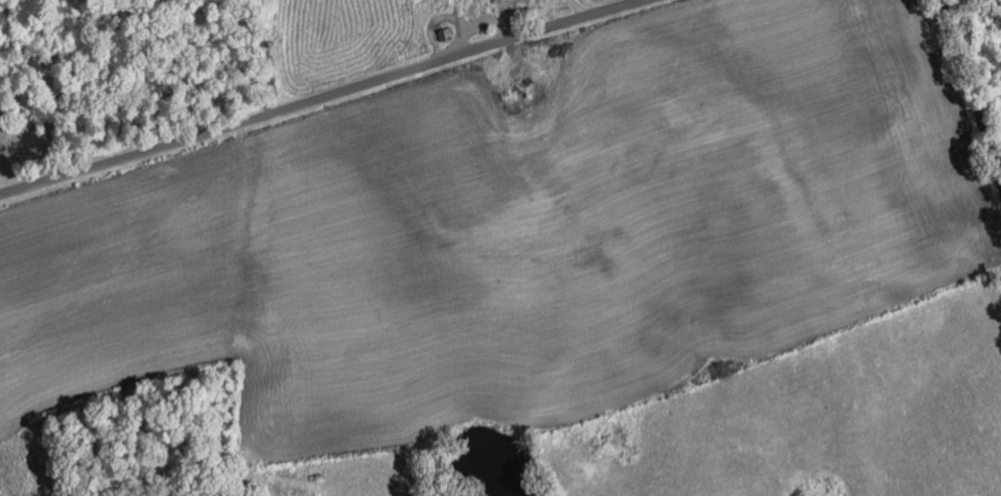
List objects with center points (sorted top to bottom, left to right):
road: (968, 91)
road: (317, 98)

